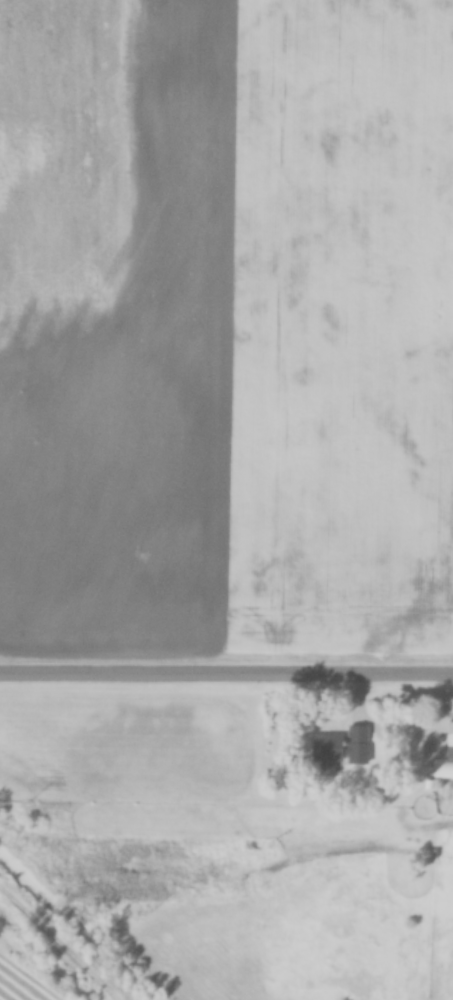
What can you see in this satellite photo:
road: (226, 676)
building: (450, 735)
building: (343, 749)

